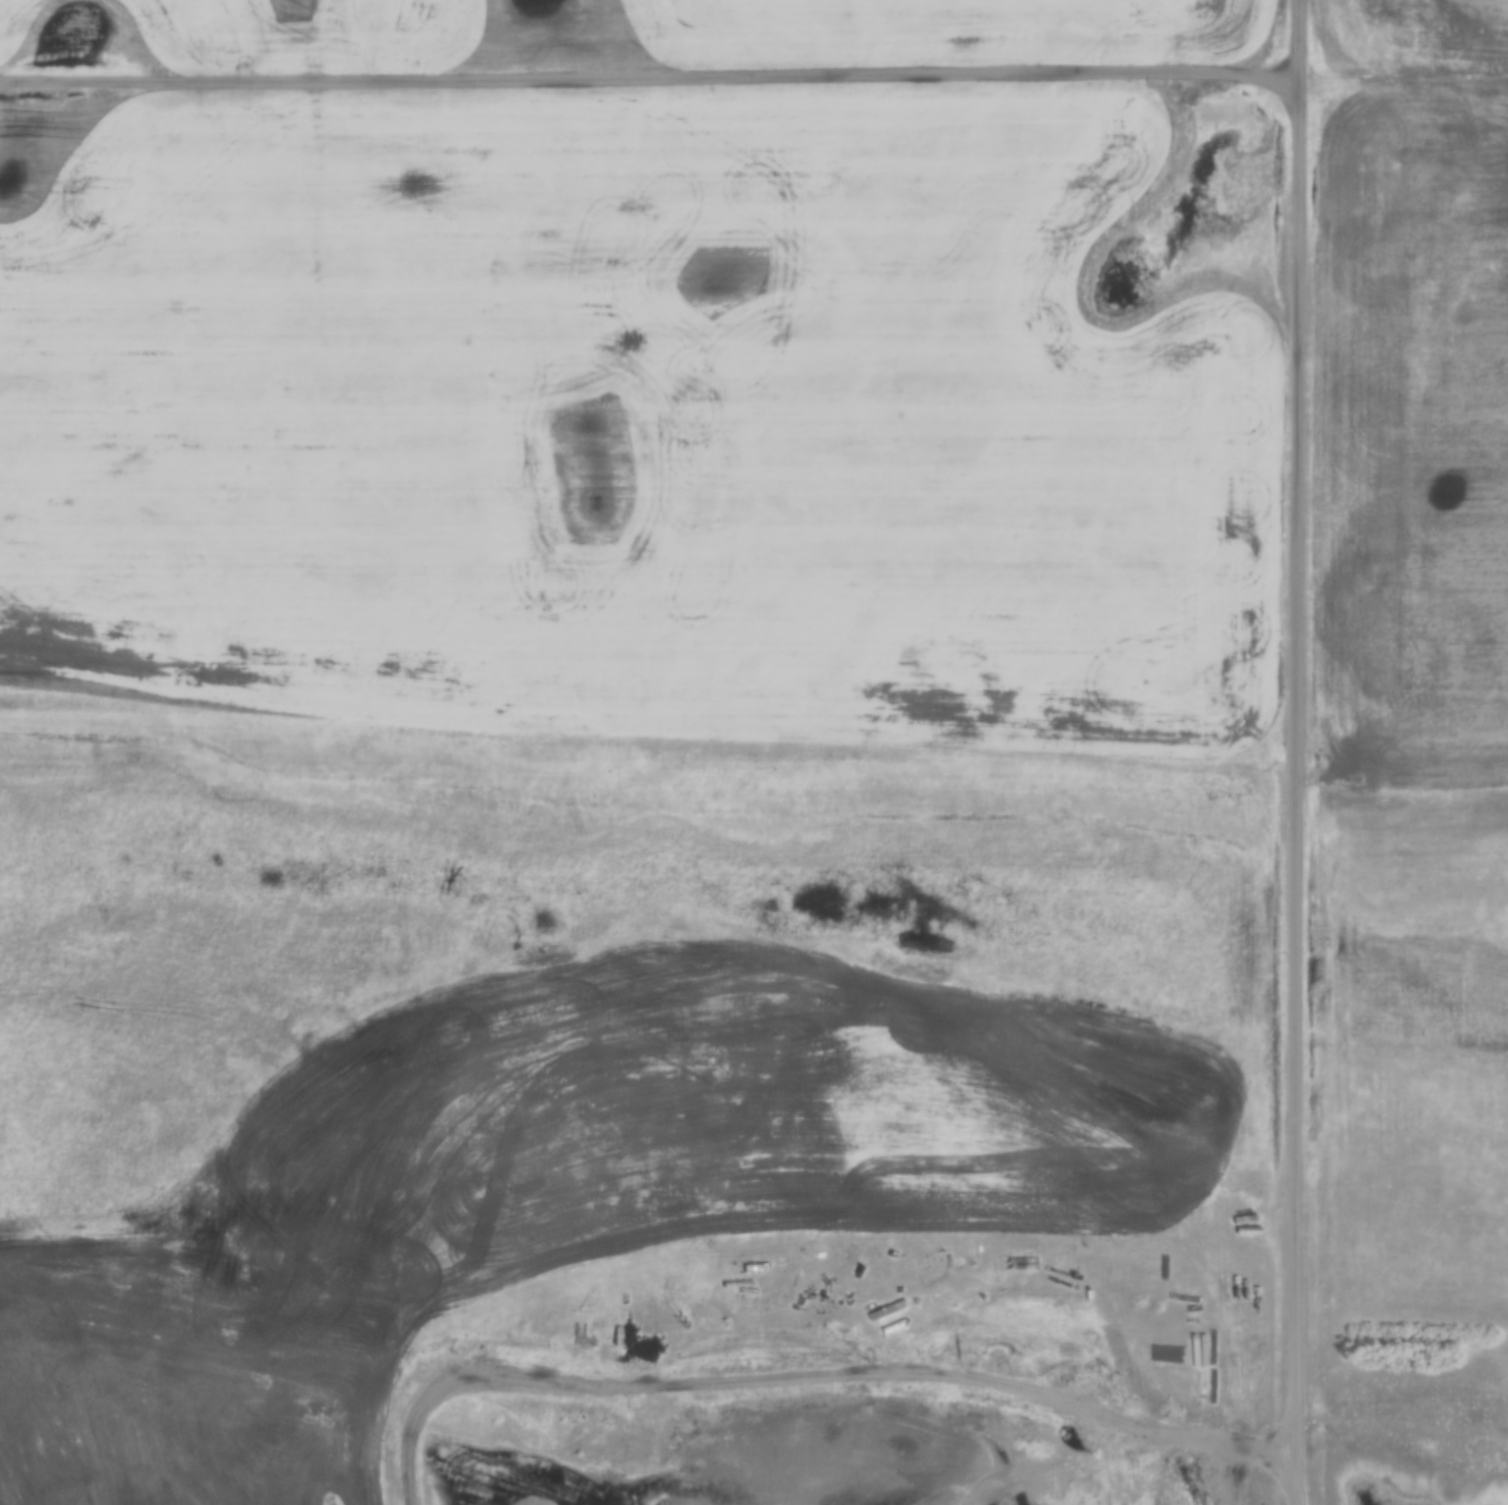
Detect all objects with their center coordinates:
road: (1403, 67)
road: (648, 70)
road: (1296, 752)
quarry: (849, 1456)

